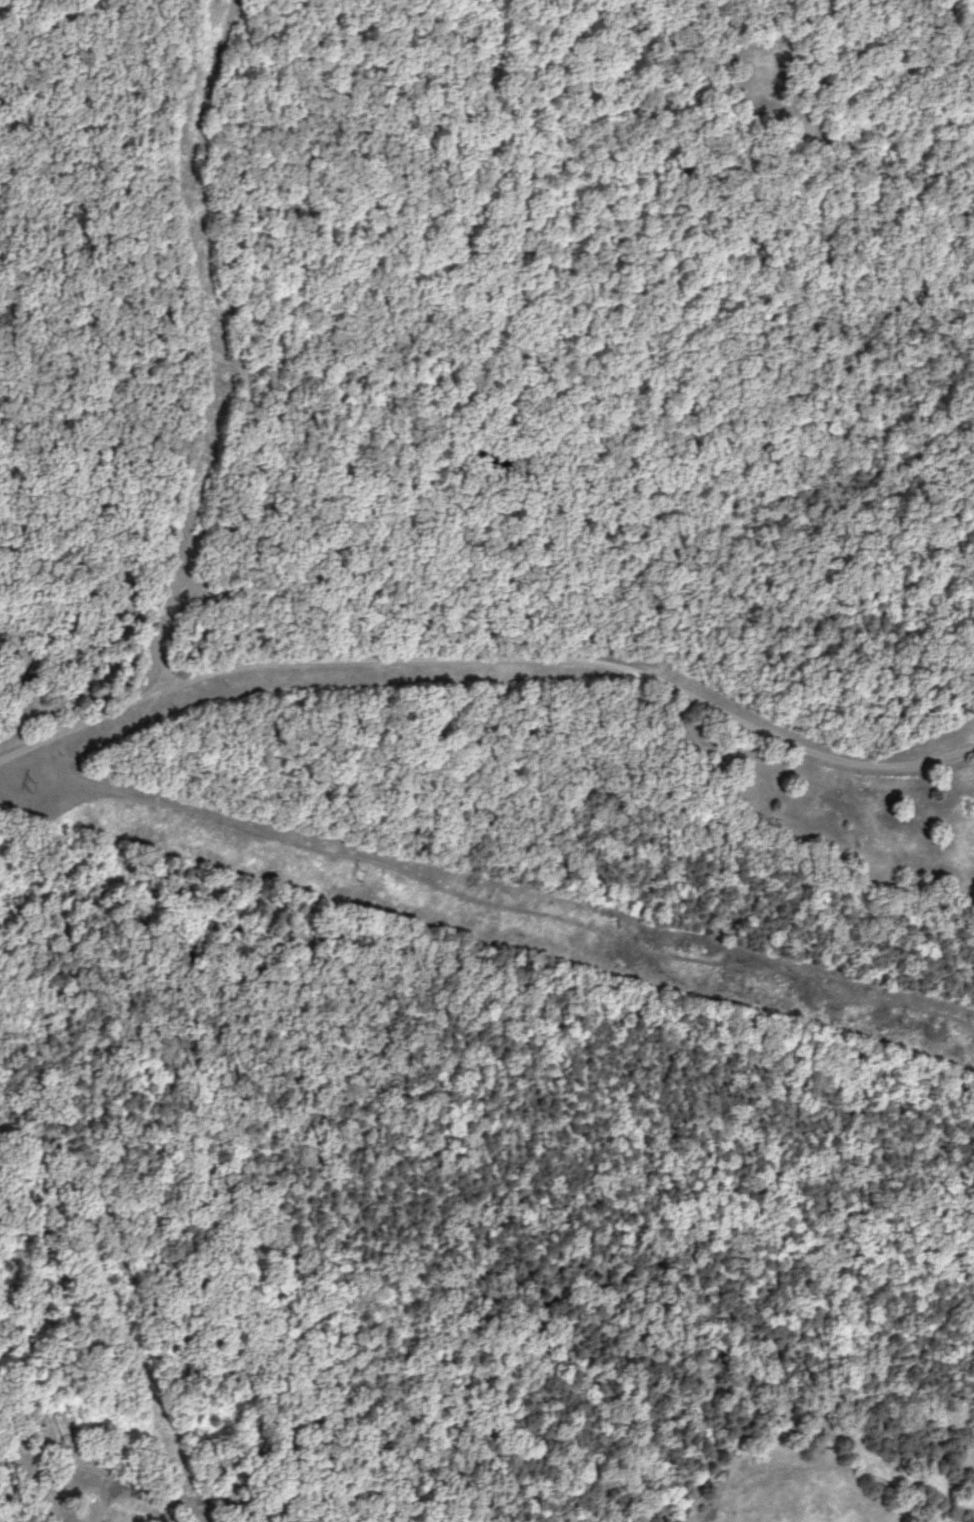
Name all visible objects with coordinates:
road: (244, 348)
road: (487, 660)
building: (27, 685)
road: (161, 1317)

